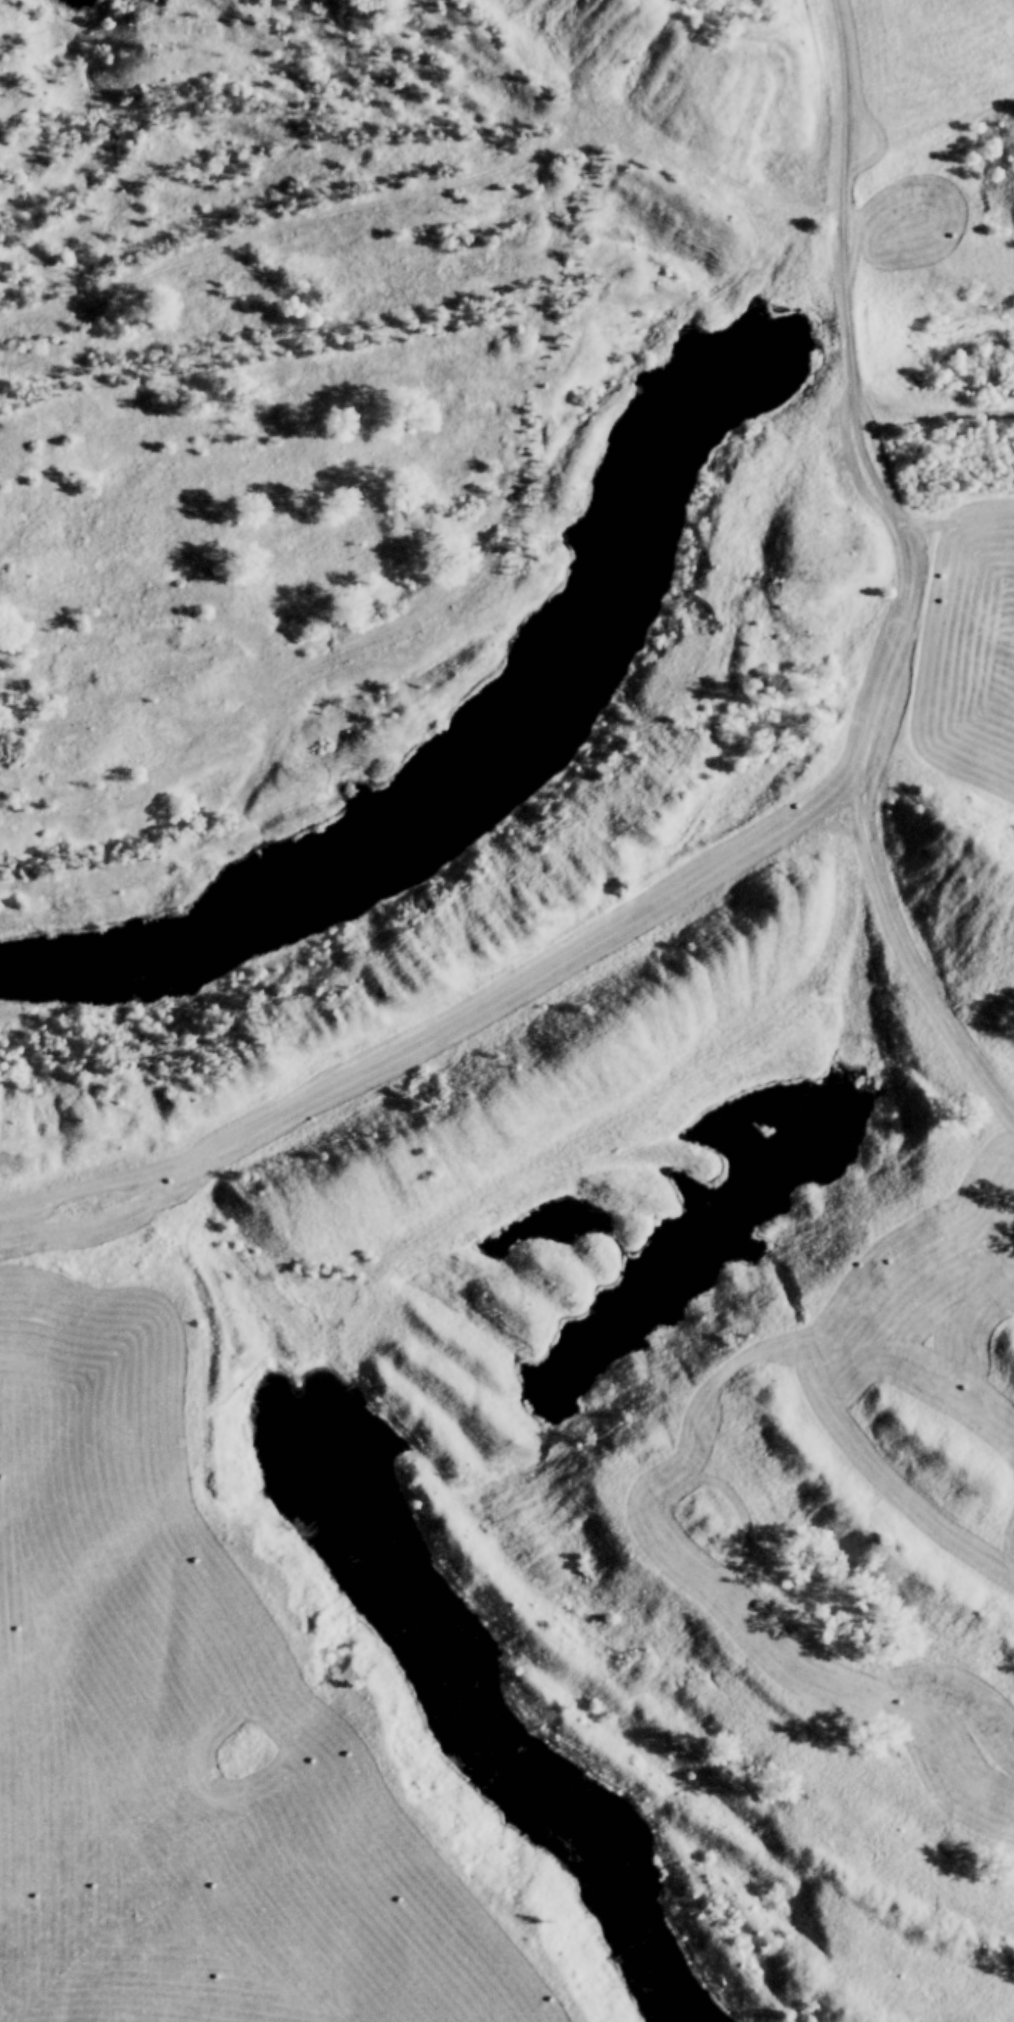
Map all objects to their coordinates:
road: (420, 193)
road: (931, 414)
road: (914, 575)
quarry: (529, 940)

